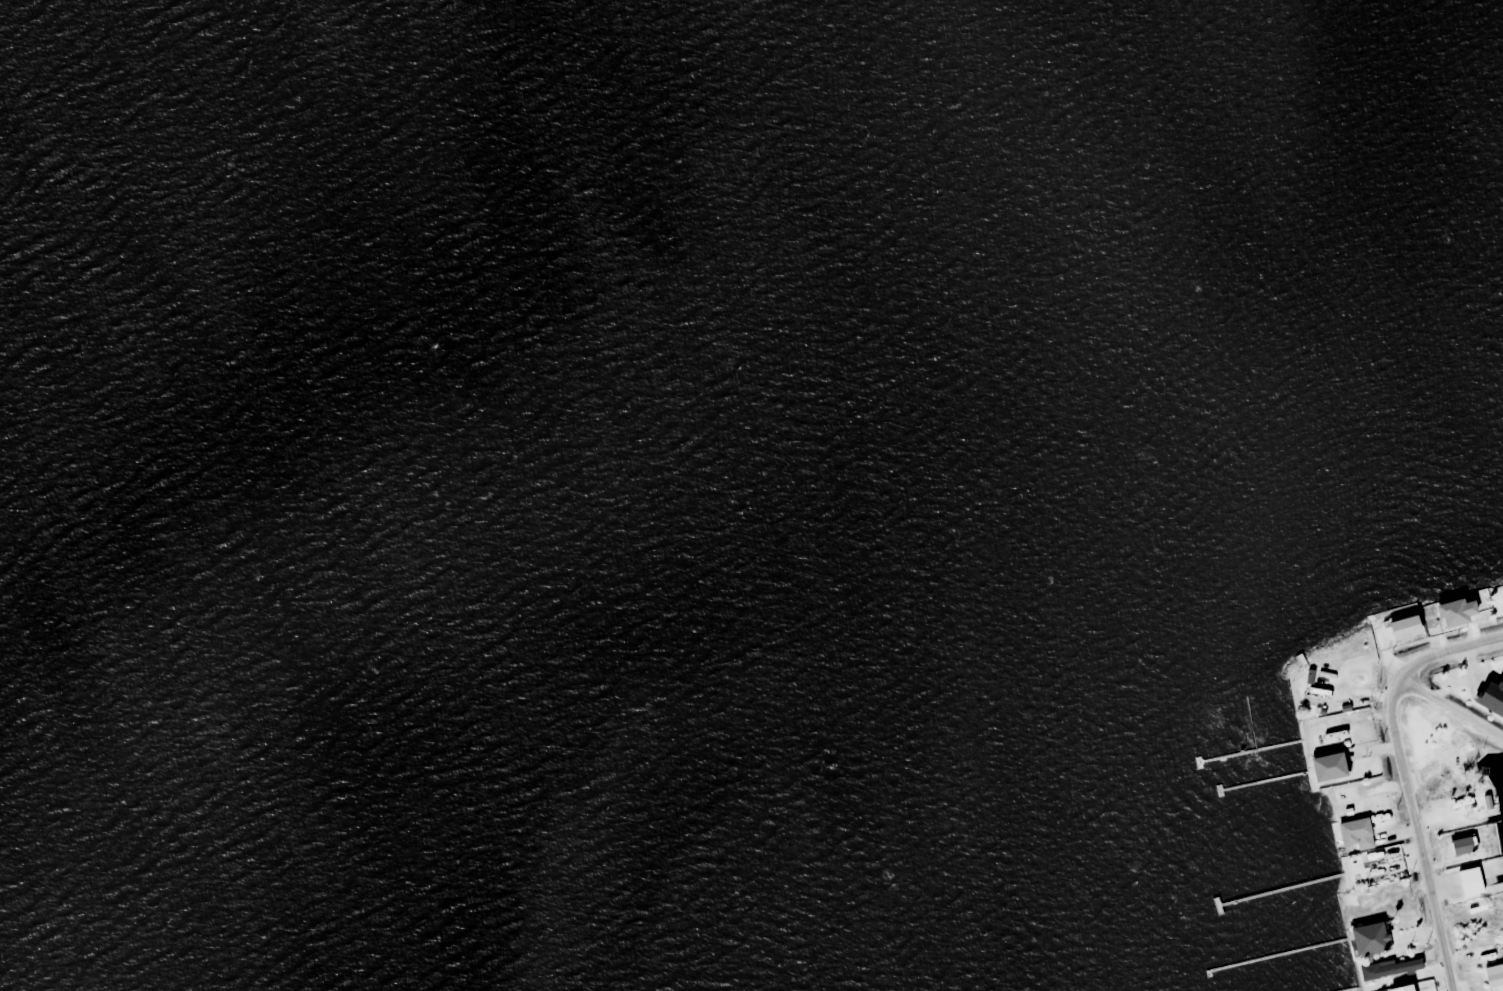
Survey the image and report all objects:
building: (1500, 670)
road: (1449, 709)
building: (1337, 740)
building: (1449, 753)
building: (1339, 768)
road: (1399, 777)
building: (1447, 790)
building: (1363, 832)
building: (1466, 847)
building: (1487, 909)
building: (1376, 939)
building: (1490, 954)
building: (1404, 967)
building: (1495, 975)

